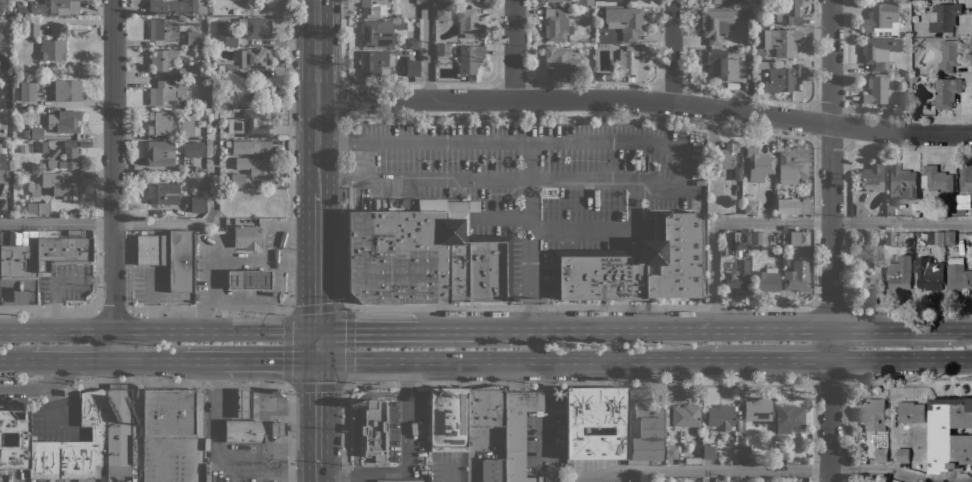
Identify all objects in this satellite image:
building: (467, 0)
building: (555, 0)
building: (620, 0)
building: (443, 1)
building: (585, 2)
building: (712, 2)
building: (905, 3)
building: (178, 6)
building: (372, 6)
building: (56, 7)
building: (21, 11)
building: (235, 11)
building: (443, 12)
building: (788, 12)
building: (745, 14)
building: (880, 17)
building: (943, 17)
building: (625, 21)
building: (756, 22)
building: (469, 23)
building: (556, 24)
building: (717, 24)
building: (258, 27)
building: (32, 28)
building: (163, 29)
building: (917, 32)
building: (376, 33)
building: (227, 35)
building: (5, 38)
building: (193, 40)
road: (345, 41)
building: (782, 42)
building: (413, 44)
building: (610, 46)
building: (618, 46)
building: (52, 49)
road: (426, 49)
building: (442, 49)
road: (513, 49)
road: (672, 51)
building: (879, 51)
building: (949, 55)
building: (469, 58)
building: (754, 58)
building: (163, 59)
building: (255, 59)
building: (630, 59)
building: (375, 61)
building: (561, 61)
building: (720, 64)
building: (413, 68)
building: (188, 71)
building: (230, 71)
building: (29, 72)
building: (384, 72)
building: (202, 73)
building: (601, 75)
building: (780, 76)
building: (914, 79)
building: (8, 81)
building: (16, 83)
building: (876, 89)
building: (28, 90)
building: (66, 90)
building: (253, 90)
building: (946, 92)
building: (166, 94)
road: (317, 97)
road: (343, 98)
road: (645, 99)
building: (229, 100)
building: (202, 104)
road: (526, 115)
building: (64, 121)
building: (160, 123)
building: (254, 124)
building: (187, 126)
building: (36, 133)
road: (595, 141)
building: (249, 146)
building: (38, 147)
building: (222, 149)
building: (171, 151)
building: (723, 156)
building: (70, 159)
road: (527, 160)
building: (2, 161)
building: (52, 164)
building: (758, 164)
building: (11, 166)
building: (256, 168)
building: (791, 168)
building: (37, 175)
building: (868, 177)
building: (966, 178)
road: (113, 179)
road: (480, 179)
building: (237, 180)
building: (936, 180)
building: (901, 183)
building: (61, 184)
building: (34, 190)
building: (161, 192)
building: (953, 200)
building: (198, 203)
road: (633, 205)
building: (786, 206)
building: (748, 207)
building: (806, 207)
building: (38, 208)
building: (859, 210)
building: (890, 210)
building: (961, 211)
building: (19, 212)
road: (499, 218)
road: (189, 222)
road: (788, 222)
road: (57, 223)
road: (286, 229)
road: (581, 231)
building: (246, 237)
building: (798, 237)
building: (861, 237)
building: (888, 237)
building: (741, 238)
building: (759, 238)
building: (935, 238)
building: (950, 238)
road: (831, 241)
building: (908, 242)
building: (62, 249)
building: (723, 251)
building: (425, 255)
building: (169, 256)
building: (673, 256)
road: (265, 259)
building: (785, 260)
building: (18, 262)
road: (317, 262)
building: (929, 273)
building: (597, 274)
building: (899, 274)
building: (735, 275)
building: (958, 275)
road: (60, 278)
building: (868, 279)
building: (249, 280)
building: (766, 280)
building: (795, 280)
road: (213, 282)
building: (529, 299)
road: (531, 299)
road: (908, 303)
road: (830, 304)
road: (484, 305)
road: (292, 310)
road: (531, 315)
road: (893, 328)
road: (964, 328)
road: (158, 329)
road: (467, 329)
road: (674, 329)
traffic signals: (317, 330)
road: (367, 330)
road: (317, 344)
road: (769, 358)
road: (901, 358)
road: (4, 359)
road: (39, 359)
road: (92, 359)
road: (138, 359)
road: (192, 359)
road: (269, 359)
traffic signals: (317, 359)
road: (512, 359)
road: (143, 379)
road: (829, 382)
road: (40, 384)
road: (531, 384)
road: (908, 384)
building: (244, 403)
building: (486, 406)
building: (648, 408)
building: (757, 409)
road: (317, 412)
building: (910, 412)
building: (872, 413)
building: (169, 414)
building: (685, 415)
road: (407, 416)
building: (720, 416)
building: (787, 417)
building: (449, 419)
road: (199, 420)
building: (597, 422)
building: (120, 427)
building: (278, 428)
building: (374, 430)
building: (244, 431)
road: (289, 433)
building: (518, 433)
building: (950, 434)
building: (22, 437)
building: (659, 438)
building: (634, 442)
building: (75, 446)
road: (163, 447)
building: (708, 451)
road: (266, 452)
building: (671, 452)
building: (743, 452)
building: (780, 452)
road: (471, 454)
building: (880, 455)
building: (903, 455)
building: (692, 460)
road: (221, 461)
road: (378, 469)
road: (701, 469)
road: (878, 469)
building: (492, 470)
road: (317, 474)
building: (964, 475)
building: (634, 480)
road: (341, 481)
building: (399, 481)
building: (796, 481)
building: (855, 481)
building: (862, 481)

